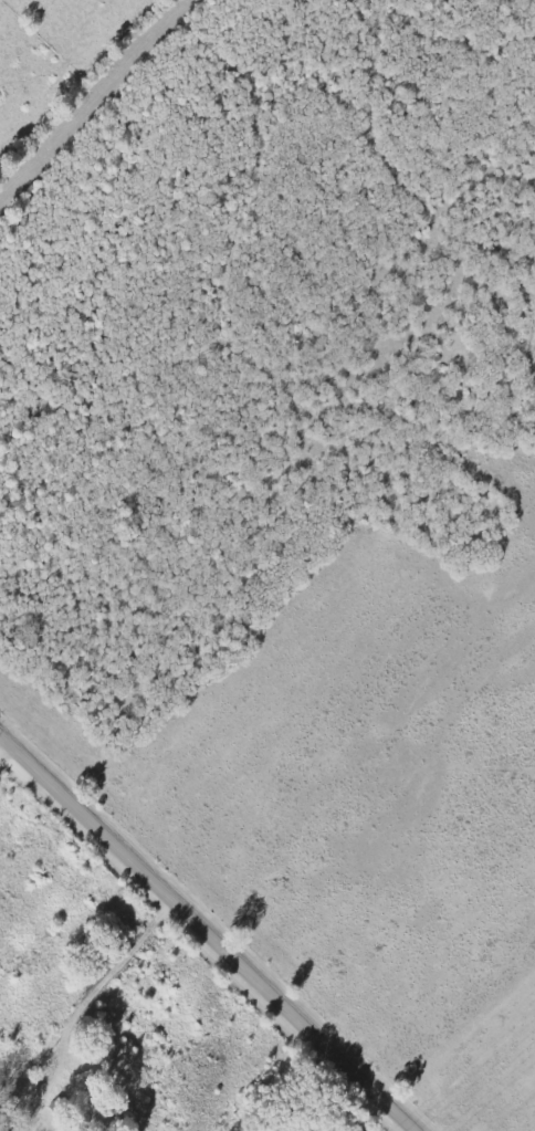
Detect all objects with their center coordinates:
road: (6, 748)
road: (212, 932)

